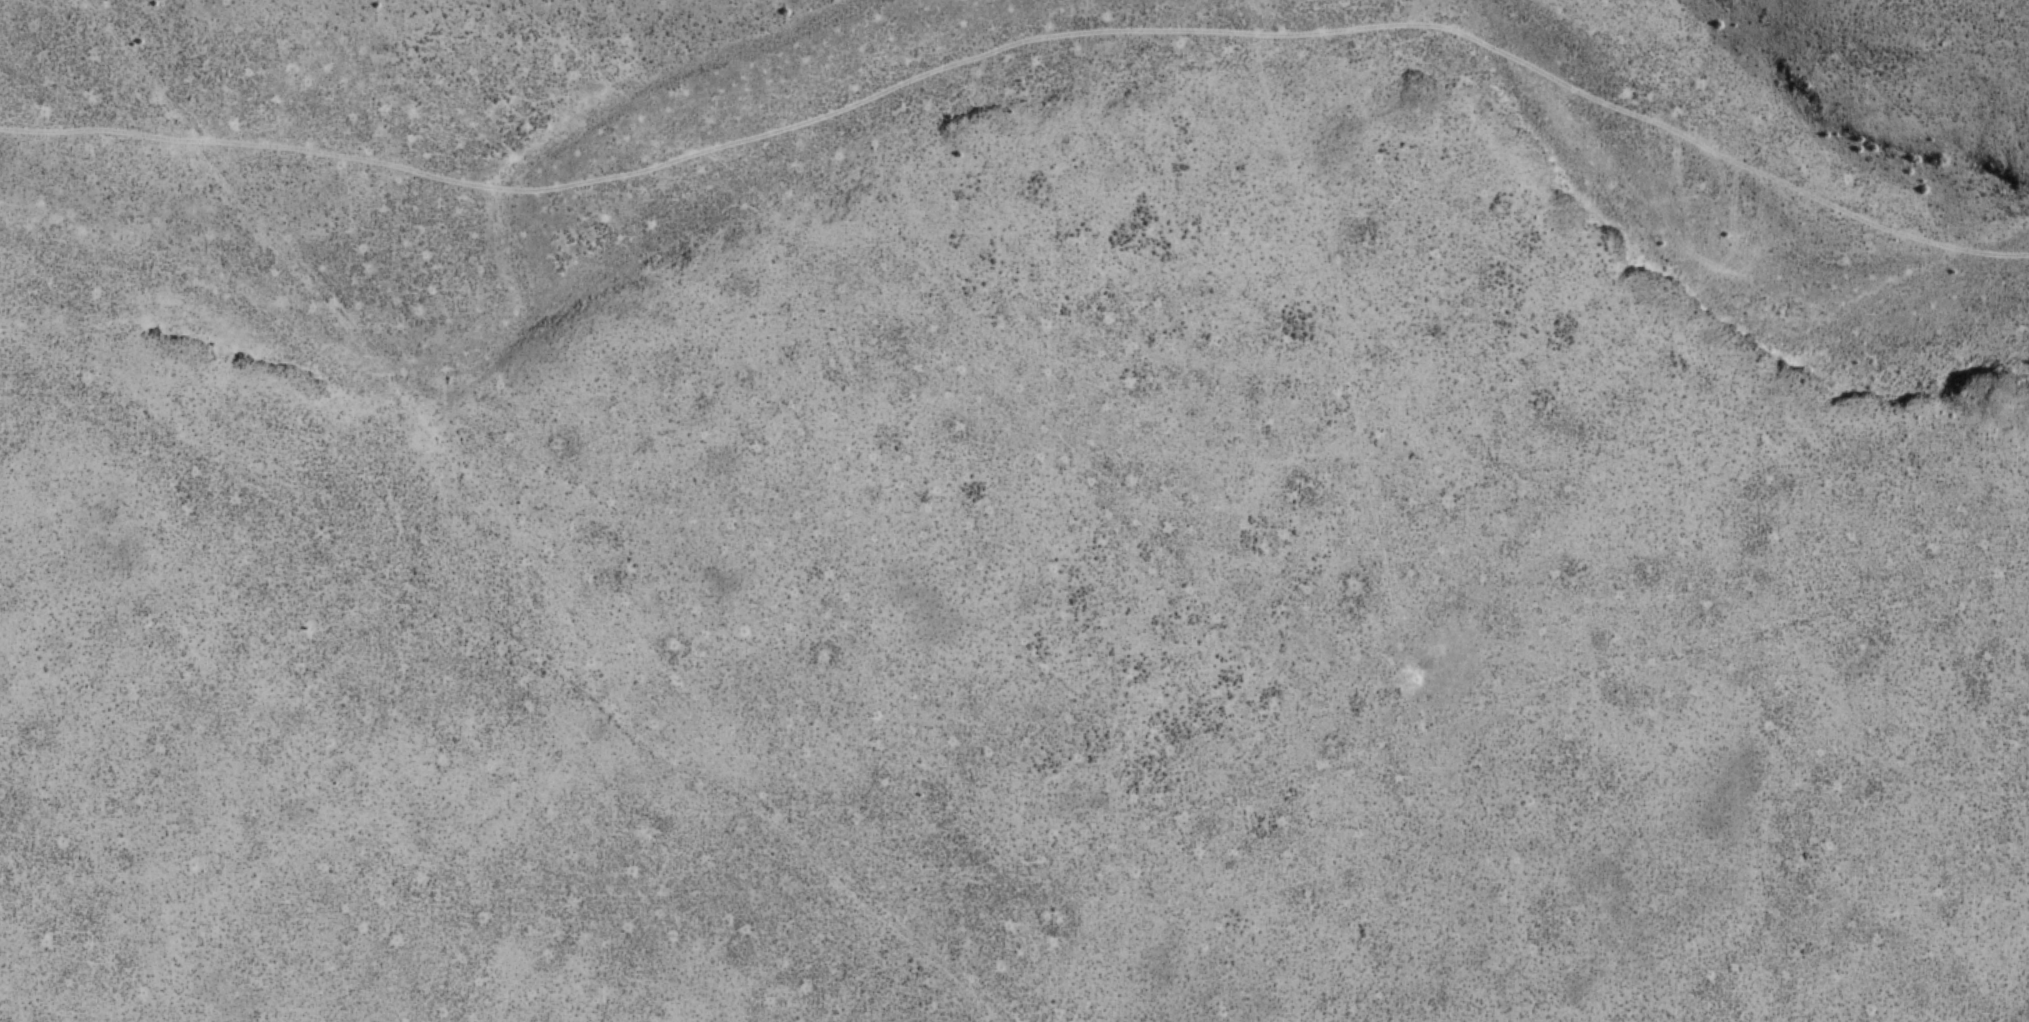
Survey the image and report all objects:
road: (1022, 47)

